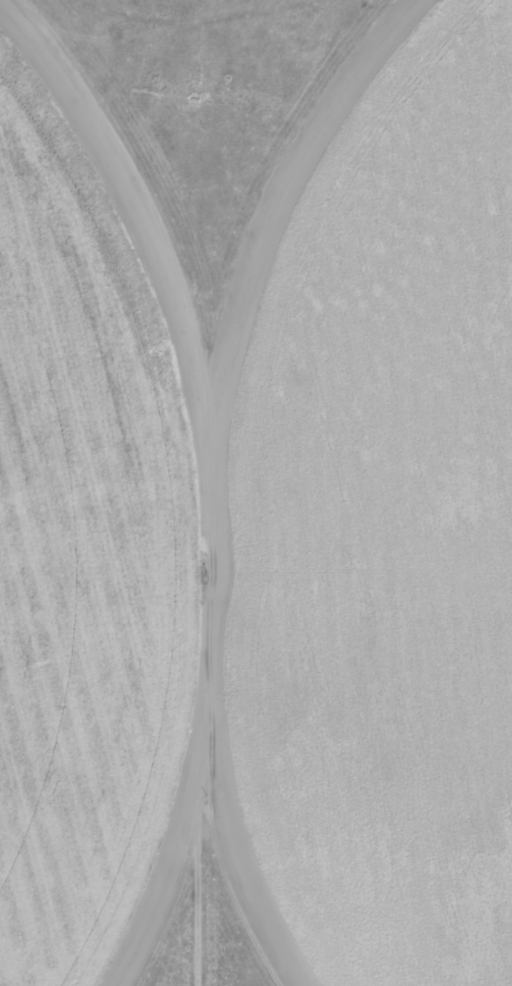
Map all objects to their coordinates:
road: (6, 979)

